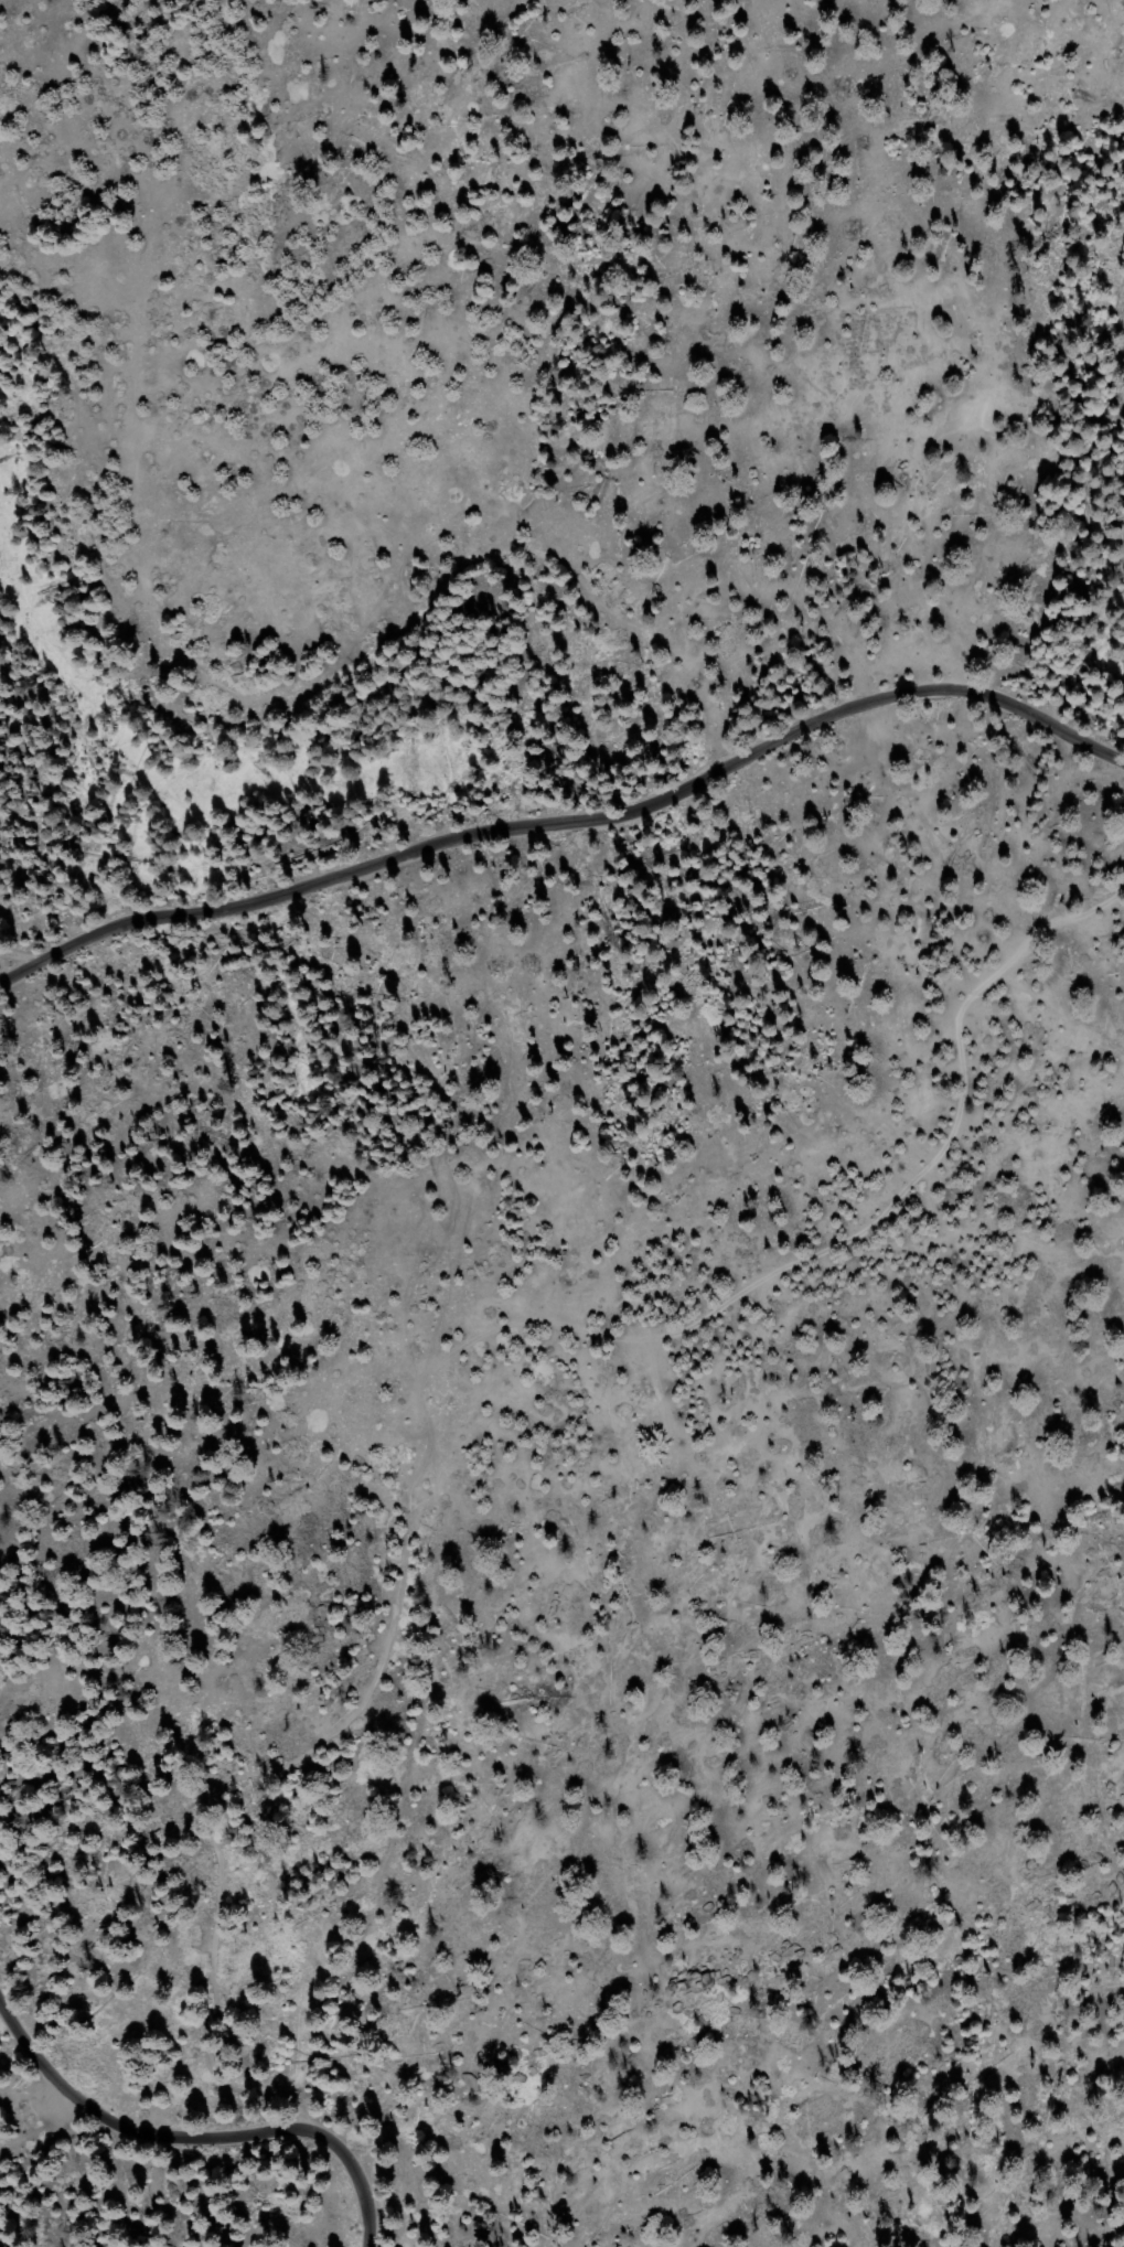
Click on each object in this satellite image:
road: (568, 825)
road: (458, 1349)
road: (192, 2133)

